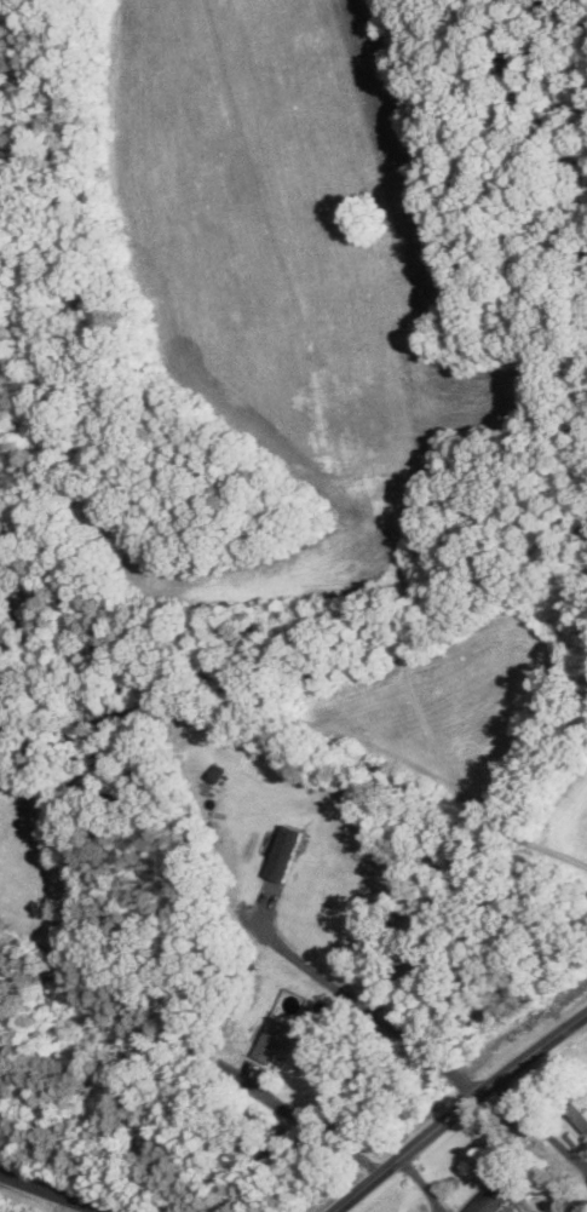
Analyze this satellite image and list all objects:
building: (215, 772)
building: (283, 851)
road: (372, 1010)
building: (272, 1039)
building: (580, 1110)
road: (462, 1115)
road: (542, 1128)
road: (321, 1130)
road: (47, 1194)
building: (494, 1196)

